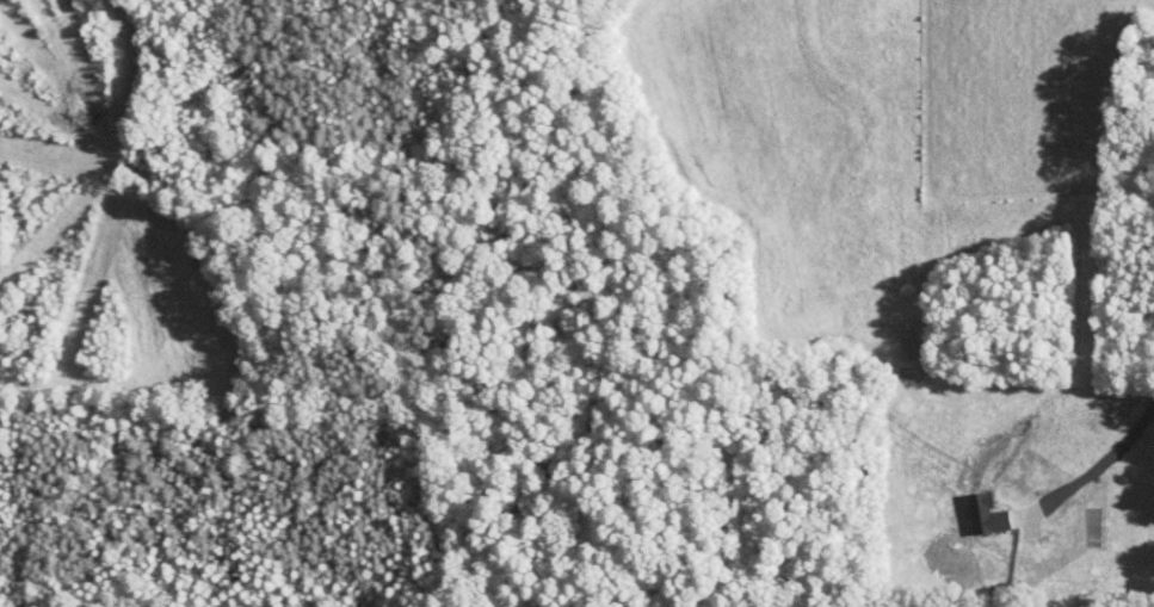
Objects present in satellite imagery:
road: (1103, 462)
building: (970, 504)

